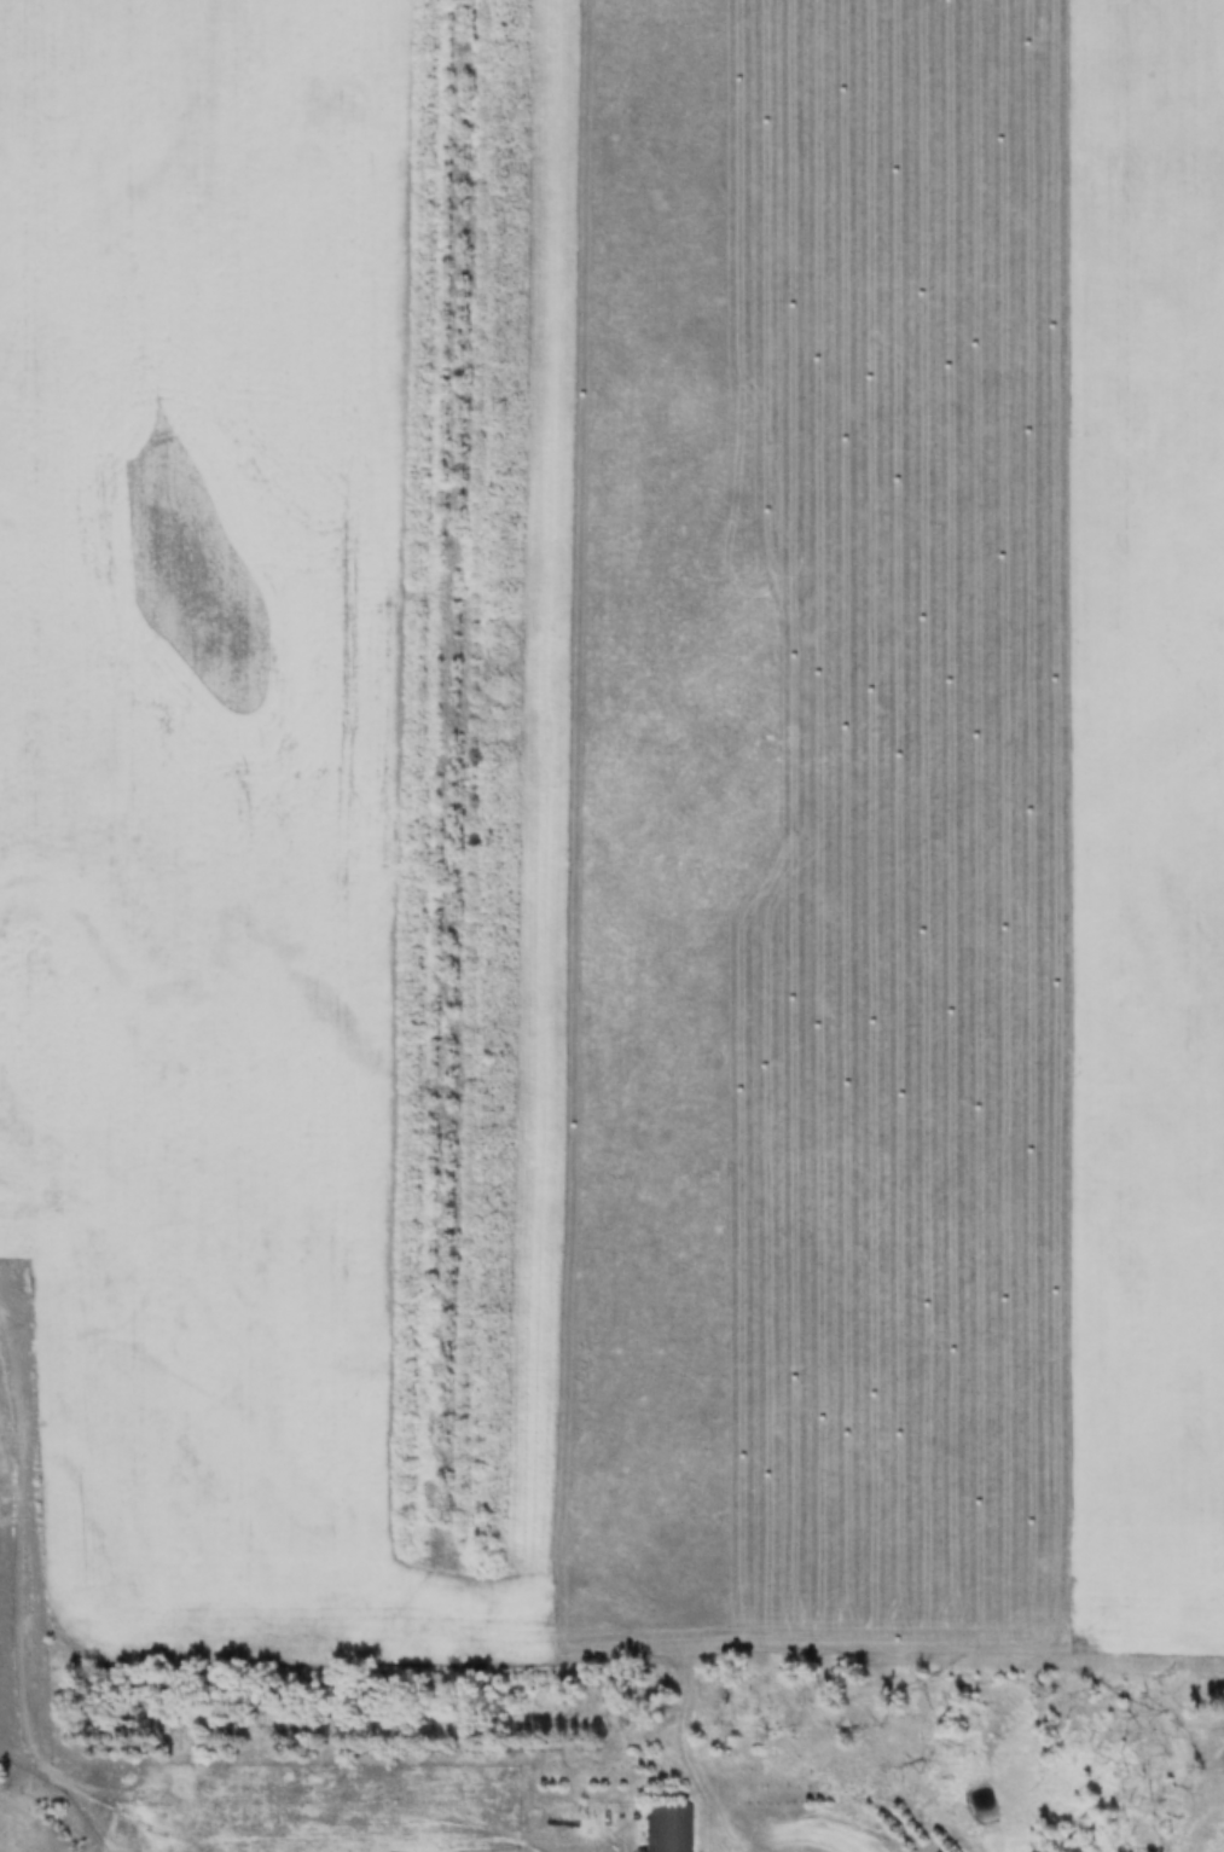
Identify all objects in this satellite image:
building: (667, 1828)

